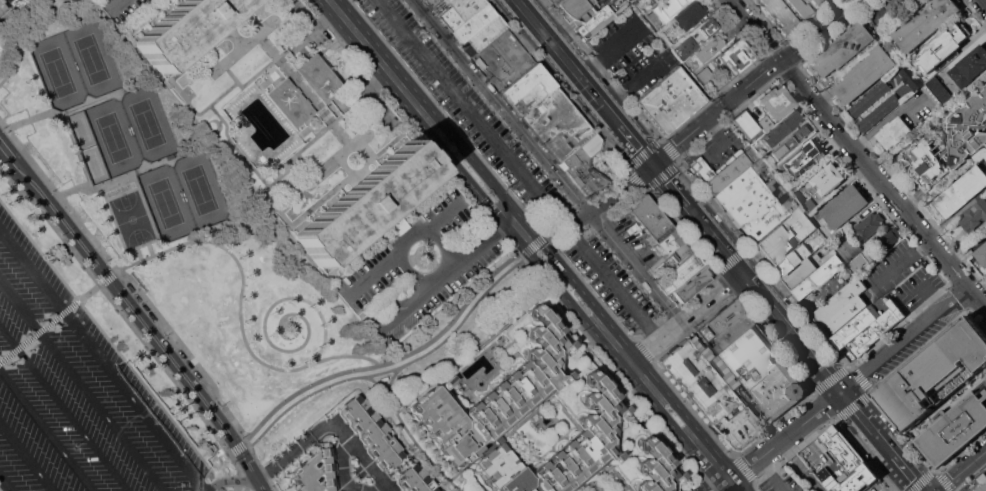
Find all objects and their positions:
building: (556, 1)
building: (652, 1)
road: (984, 1)
road: (985, 1)
building: (819, 2)
building: (906, 2)
building: (431, 3)
building: (669, 4)
building: (2, 5)
road: (116, 6)
building: (466, 6)
building: (893, 6)
building: (440, 7)
building: (801, 8)
building: (575, 10)
parking lot: (129, 12)
building: (781, 14)
building: (881, 14)
building: (690, 15)
building: (654, 18)
building: (593, 20)
building: (926, 22)
building: (473, 23)
building: (710, 25)
building: (183, 29)
road: (309, 29)
building: (505, 29)
road: (21, 32)
road: (740, 35)
building: (483, 36)
building: (686, 47)
building: (942, 48)
building: (707, 49)
building: (844, 49)
road: (609, 51)
building: (734, 57)
road: (513, 58)
parking lot: (503, 59)
park: (73, 63)
road: (570, 63)
building: (970, 66)
road: (602, 70)
building: (704, 74)
building: (865, 74)
building: (911, 77)
building: (318, 78)
road: (638, 84)
road: (562, 88)
building: (528, 89)
building: (940, 89)
building: (870, 98)
building: (670, 101)
building: (775, 102)
building: (289, 103)
road: (723, 107)
building: (879, 112)
building: (764, 122)
road: (66, 123)
building: (558, 124)
building: (745, 124)
road: (413, 127)
park: (129, 129)
building: (779, 129)
building: (893, 132)
building: (790, 140)
building: (592, 145)
road: (639, 145)
building: (949, 145)
road: (858, 153)
road: (544, 159)
building: (802, 159)
traffic signals: (655, 164)
parking lot: (515, 165)
road: (517, 168)
building: (701, 168)
building: (731, 170)
building: (583, 171)
road: (118, 177)
building: (828, 179)
road: (672, 184)
building: (961, 191)
road: (122, 193)
road: (58, 195)
park: (182, 196)
building: (754, 201)
building: (364, 203)
building: (809, 206)
building: (845, 206)
road: (53, 209)
building: (974, 216)
road: (441, 217)
building: (650, 217)
park: (132, 221)
road: (579, 222)
building: (870, 224)
road: (556, 230)
road: (430, 235)
building: (785, 235)
park: (218, 236)
building: (889, 237)
road: (536, 239)
parking lot: (636, 239)
building: (651, 240)
building: (670, 241)
road: (523, 244)
road: (533, 244)
road: (142, 245)
building: (849, 248)
road: (149, 249)
building: (660, 250)
road: (138, 254)
building: (981, 254)
road: (902, 259)
building: (793, 261)
building: (861, 261)
building: (666, 265)
parking lot: (419, 266)
building: (807, 269)
road: (453, 270)
road: (373, 271)
building: (681, 273)
road: (746, 273)
road: (108, 275)
road: (439, 275)
building: (818, 276)
building: (690, 286)
road: (86, 293)
road: (932, 300)
building: (839, 301)
road: (118, 308)
road: (65, 309)
road: (239, 311)
road: (681, 316)
building: (845, 316)
building: (720, 319)
building: (864, 320)
road: (51, 321)
building: (732, 330)
road: (38, 331)
building: (876, 331)
park: (116, 333)
road: (26, 341)
road: (905, 341)
road: (268, 342)
road: (17, 349)
road: (186, 352)
building: (750, 356)
road: (6, 357)
road: (102, 360)
road: (389, 361)
road: (821, 367)
road: (395, 368)
road: (616, 373)
road: (182, 375)
road: (390, 379)
road: (81, 386)
building: (777, 391)
building: (943, 392)
parking lot: (74, 393)
building: (496, 395)
building: (710, 395)
road: (64, 409)
road: (330, 425)
road: (869, 425)
road: (46, 431)
building: (371, 432)
road: (786, 434)
road: (409, 435)
road: (236, 447)
building: (564, 448)
building: (843, 449)
road: (26, 457)
road: (235, 464)
road: (260, 465)
building: (655, 469)
road: (961, 469)
building: (318, 471)
road: (343, 474)
road: (773, 474)
road: (912, 474)
building: (827, 478)
building: (859, 479)
building: (415, 480)
road: (898, 480)
road: (230, 481)
road: (244, 481)
road: (729, 482)
road: (259, 483)
building: (977, 483)
road: (5, 484)
road: (740, 484)
road: (239, 485)
road: (715, 487)
road: (241, 489)
road: (245, 489)
road: (388, 490)

